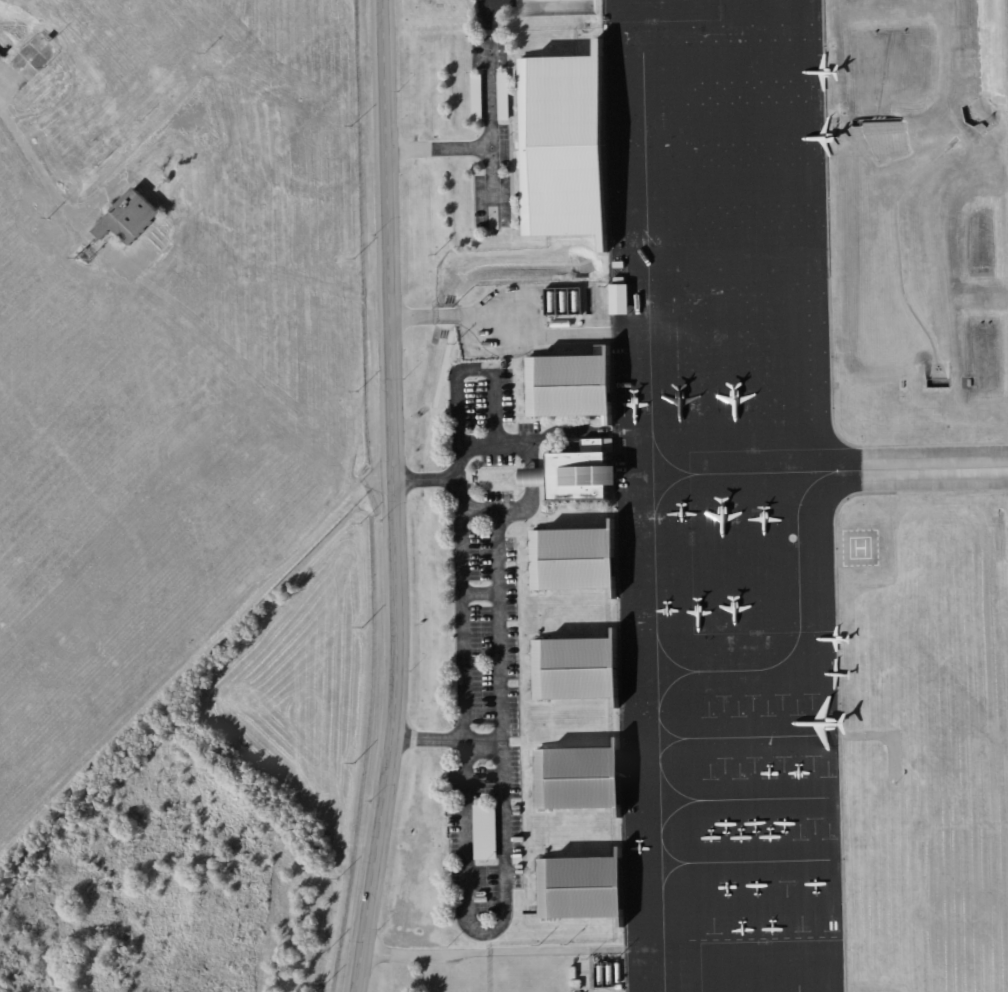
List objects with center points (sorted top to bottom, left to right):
building: (49, 38)
building: (0, 57)
building: (502, 84)
parking lot: (489, 131)
road: (489, 146)
building: (558, 147)
road: (38, 163)
road: (491, 186)
building: (128, 218)
building: (620, 299)
road: (461, 377)
building: (564, 387)
road: (568, 434)
road: (480, 446)
airport taxiway: (919, 469)
road: (529, 475)
building: (574, 478)
airport: (504, 496)
airport apron: (722, 496)
road: (392, 497)
road: (488, 507)
helipad: (858, 548)
building: (567, 561)
road: (479, 593)
road: (498, 623)
parking lot: (484, 628)
building: (573, 671)
building: (576, 780)
building: (484, 832)
road: (465, 884)
building: (578, 887)
building: (485, 915)
building: (572, 973)
building: (575, 984)

